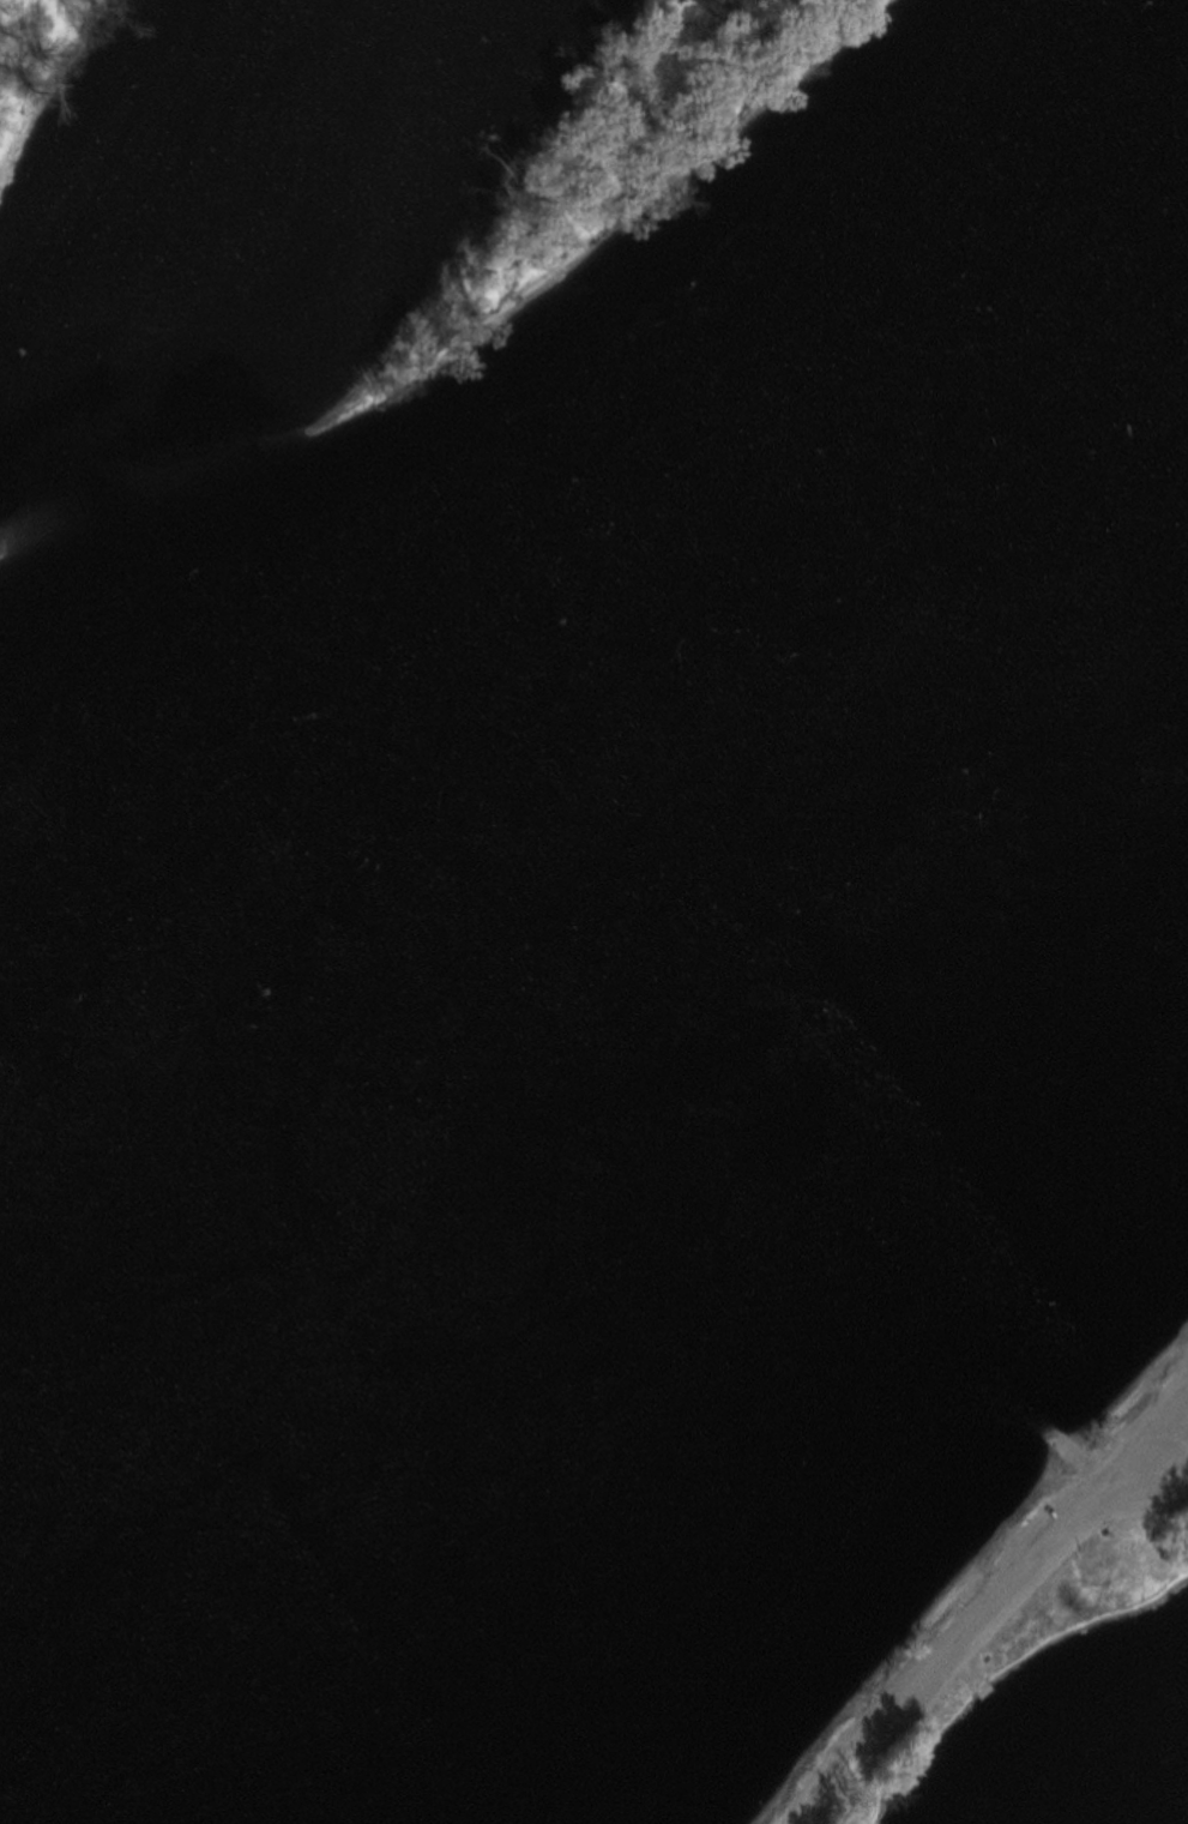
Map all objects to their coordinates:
river: (574, 656)
parking lot: (1055, 1524)
road: (1031, 1553)
park: (1065, 1606)
road: (820, 1762)

